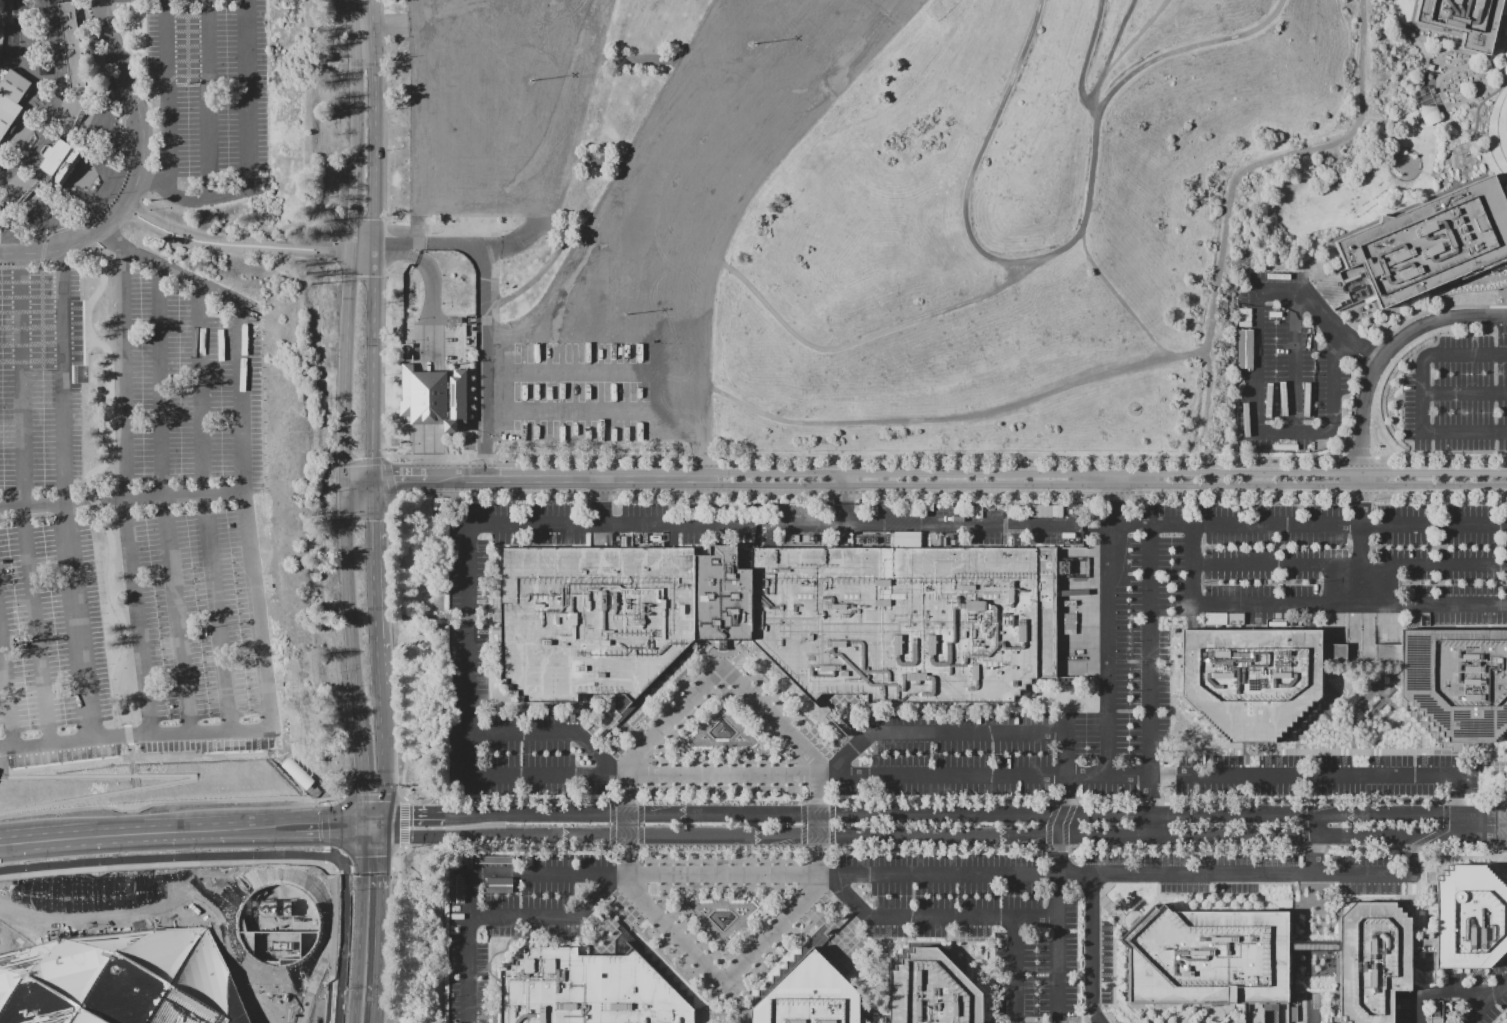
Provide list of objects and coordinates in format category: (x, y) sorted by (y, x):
building: (1462, 20)
road: (380, 23)
road: (1417, 24)
building: (70, 43)
street lamp: (751, 43)
road: (1124, 50)
road: (1474, 60)
road: (640, 61)
building: (41, 67)
road: (1133, 73)
street lamp: (530, 79)
street lamp: (186, 82)
road: (246, 86)
parking lot: (210, 88)
road: (166, 95)
building: (10, 96)
road: (1475, 97)
road: (49, 98)
road: (206, 99)
parking lot: (499, 102)
road: (78, 112)
road: (1449, 118)
road: (984, 145)
road: (1450, 149)
road: (1094, 150)
road: (114, 152)
building: (59, 160)
road: (597, 163)
road: (138, 169)
flagpole: (107, 177)
road: (1502, 184)
building: (471, 191)
flagpole: (109, 193)
road: (1230, 193)
flagpole: (93, 198)
road: (25, 199)
road: (196, 199)
road: (1423, 202)
road: (1374, 221)
park: (1028, 225)
parking lot: (678, 226)
road: (560, 232)
road: (351, 238)
road: (373, 238)
building: (1429, 241)
road: (243, 243)
road: (463, 246)
road: (1498, 260)
building: (1497, 264)
road: (169, 268)
road: (534, 280)
road: (1439, 285)
road: (1122, 300)
road: (1498, 302)
road: (1379, 307)
street lamp: (623, 313)
road: (1338, 325)
road: (862, 339)
road: (427, 342)
building: (205, 345)
road: (1381, 345)
road: (484, 362)
road: (1295, 362)
parking lot: (1289, 363)
road: (122, 371)
road: (1256, 372)
road: (62, 374)
parking lot: (40, 375)
road: (21, 378)
road: (158, 378)
parking lot: (183, 382)
street lamp: (178, 387)
road: (199, 387)
road: (1465, 392)
building: (140, 394)
road: (1423, 394)
parking lot: (1457, 394)
road: (324, 397)
building: (433, 397)
road: (240, 398)
road: (1364, 410)
road: (962, 418)
building: (49, 444)
building: (213, 448)
road: (923, 457)
road: (701, 459)
road: (1106, 471)
road: (86, 478)
road: (394, 478)
road: (576, 478)
road: (1105, 486)
road: (844, 487)
road: (121, 498)
road: (601, 500)
road: (844, 513)
road: (919, 523)
road: (1295, 523)
building: (205, 538)
road: (371, 558)
road: (1350, 565)
street lamp: (1203, 582)
street lamp: (1263, 582)
street lamp: (1321, 582)
street lamp: (1452, 582)
building: (722, 596)
road: (1310, 604)
road: (215, 611)
road: (175, 613)
road: (135, 615)
road: (447, 615)
road: (75, 619)
building: (592, 619)
building: (908, 621)
road: (1111, 622)
road: (34, 623)
street lamp: (198, 627)
parking lot: (198, 628)
building: (63, 631)
road: (394, 633)
road: (499, 638)
parking lot: (1134, 639)
street lamp: (18, 642)
road: (500, 644)
building: (4, 645)
parking lot: (51, 645)
road: (351, 652)
road: (739, 652)
building: (1334, 652)
building: (1387, 652)
road: (708, 665)
road: (737, 665)
road: (264, 677)
road: (1150, 680)
building: (1251, 680)
building: (1457, 682)
road: (668, 688)
road: (777, 688)
road: (6, 692)
road: (691, 713)
building: (27, 714)
road: (755, 714)
road: (380, 724)
road: (962, 732)
road: (548, 734)
road: (586, 736)
road: (859, 736)
road: (127, 738)
road: (63, 740)
road: (838, 740)
road: (129, 743)
road: (740, 746)
road: (173, 754)
road: (629, 754)
road: (1327, 755)
road: (131, 756)
road: (818, 756)
road: (618, 759)
road: (1464, 760)
road: (723, 763)
road: (1251, 767)
road: (1252, 770)
building: (296, 771)
road: (1361, 771)
road: (132, 774)
road: (720, 774)
road: (1064, 775)
road: (1465, 776)
road: (190, 778)
road: (134, 786)
traffic signals: (359, 790)
road: (373, 797)
road: (404, 797)
road: (171, 801)
road: (323, 801)
road: (332, 801)
traffic signals: (411, 812)
road: (413, 812)
road: (458, 812)
road: (965, 816)
road: (1501, 817)
road: (371, 819)
road: (404, 821)
road: (383, 823)
road: (324, 824)
road: (333, 825)
road: (1477, 825)
road: (313, 826)
traffic signals: (316, 826)
parking lot: (1501, 826)
road: (243, 827)
road: (371, 830)
road: (818, 833)
road: (1501, 835)
road: (118, 836)
road: (921, 836)
road: (1314, 843)
road: (8, 845)
road: (324, 848)
road: (334, 851)
road: (325, 855)
road: (166, 857)
road: (243, 859)
road: (325, 861)
road: (345, 861)
road: (370, 861)
road: (394, 861)
road: (362, 867)
road: (394, 867)
road: (333, 869)
road: (885, 873)
traffic signals: (383, 876)
road: (1314, 877)
road: (1414, 877)
road: (1436, 882)
road: (723, 884)
building: (455, 887)
road: (815, 896)
road: (632, 899)
parking lot: (870, 909)
road: (586, 914)
road: (861, 915)
road: (551, 917)
road: (914, 917)
building: (1470, 918)
road: (1058, 919)
road: (960, 921)
road: (359, 924)
power substation: (277, 925)
road: (749, 926)
road: (381, 928)
road: (401, 932)
road: (691, 936)
road: (754, 936)
road: (342, 937)
road: (875, 940)
road: (1005, 941)
building: (1422, 944)
road: (968, 945)
road: (1015, 947)
road: (1092, 949)
road: (596, 955)
building: (1207, 956)
building: (1372, 959)
road: (1410, 963)
road: (1290, 968)
road: (1314, 973)
building: (121, 978)
road: (1298, 978)
road: (1418, 987)
building: (587, 989)
building: (933, 990)
road: (1441, 993)
building: (810, 996)
parking lot: (1455, 998)
road: (723, 1000)
road: (1485, 1001)
road: (491, 1009)
building: (1435, 1011)
road: (723, 1015)
building: (739, 1015)

